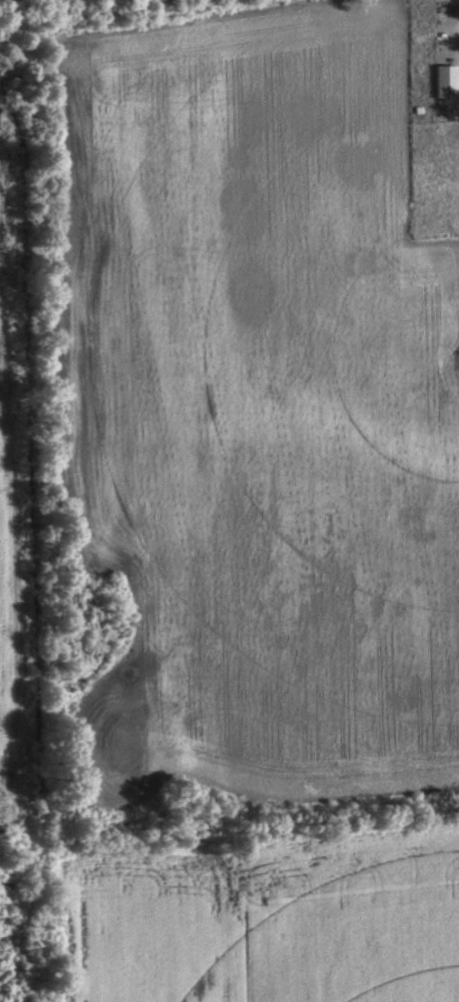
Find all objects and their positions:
building: (447, 79)

